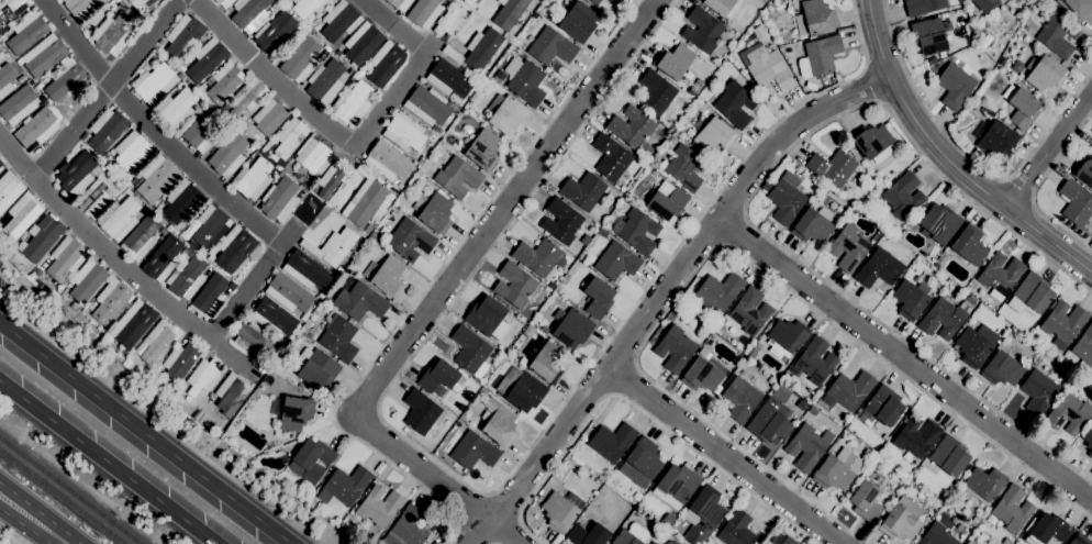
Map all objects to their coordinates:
building: (614, 0)
building: (595, 1)
building: (140, 2)
building: (223, 2)
building: (468, 2)
building: (113, 3)
building: (392, 3)
building: (985, 4)
building: (923, 5)
building: (81, 7)
building: (309, 7)
building: (724, 7)
building: (1079, 7)
building: (9, 10)
building: (422, 12)
building: (249, 13)
building: (509, 13)
building: (814, 18)
building: (449, 19)
building: (339, 21)
building: (578, 22)
road: (394, 25)
building: (702, 29)
building: (274, 31)
building: (26, 33)
building: (112, 34)
building: (1057, 34)
building: (183, 35)
building: (929, 35)
building: (361, 43)
building: (548, 46)
building: (482, 47)
building: (325, 49)
building: (452, 54)
building: (44, 55)
building: (818, 56)
building: (207, 59)
building: (301, 59)
building: (19, 60)
building: (673, 60)
building: (385, 63)
building: (768, 68)
building: (1044, 71)
building: (5, 78)
building: (21, 78)
road: (271, 78)
building: (447, 78)
building: (65, 79)
building: (209, 81)
building: (224, 81)
building: (325, 81)
building: (527, 82)
building: (154, 84)
building: (810, 85)
road: (872, 85)
building: (37, 86)
building: (954, 86)
road: (105, 89)
building: (656, 92)
building: (247, 97)
road: (390, 99)
building: (734, 102)
building: (352, 103)
building: (18, 104)
building: (427, 106)
building: (1021, 106)
building: (225, 107)
building: (176, 108)
building: (506, 113)
building: (269, 116)
road: (155, 125)
building: (631, 126)
building: (36, 127)
building: (202, 127)
building: (105, 130)
building: (403, 132)
building: (714, 134)
building: (83, 136)
building: (289, 138)
building: (996, 138)
building: (872, 142)
building: (483, 149)
road: (1048, 149)
building: (132, 152)
building: (227, 155)
building: (313, 157)
building: (611, 157)
road: (969, 157)
road: (947, 160)
building: (387, 162)
building: (0, 163)
building: (0, 165)
building: (0, 167)
building: (684, 167)
building: (832, 167)
building: (277, 168)
building: (1083, 170)
building: (76, 173)
building: (654, 173)
building: (457, 176)
building: (331, 178)
building: (156, 179)
building: (252, 179)
building: (823, 187)
road: (1035, 187)
building: (9, 189)
building: (582, 190)
building: (903, 196)
building: (94, 199)
building: (279, 199)
building: (365, 199)
road: (748, 199)
building: (182, 201)
building: (666, 201)
building: (785, 201)
building: (1076, 202)
road: (504, 208)
building: (157, 211)
building: (433, 211)
building: (854, 211)
building: (21, 214)
road: (744, 214)
building: (119, 218)
building: (561, 221)
building: (939, 223)
building: (813, 224)
building: (210, 225)
road: (731, 230)
building: (638, 231)
building: (141, 237)
building: (40, 238)
building: (410, 240)
road: (103, 241)
building: (968, 245)
building: (332, 246)
road: (718, 246)
road: (731, 247)
building: (848, 247)
building: (234, 248)
building: (537, 256)
building: (66, 257)
building: (163, 259)
building: (616, 260)
parking lot: (1, 264)
building: (879, 268)
building: (307, 270)
building: (1000, 275)
building: (386, 276)
building: (187, 278)
building: (82, 284)
parking lot: (2, 285)
building: (514, 285)
road: (427, 287)
building: (718, 290)
road: (661, 291)
building: (288, 292)
building: (1030, 295)
building: (209, 296)
building: (598, 298)
building: (911, 299)
building: (111, 301)
building: (359, 301)
building: (748, 311)
road: (232, 313)
building: (487, 317)
building: (272, 318)
building: (941, 319)
building: (133, 323)
building: (1062, 323)
building: (1007, 325)
building: (571, 326)
building: (527, 329)
building: (545, 330)
building: (113, 331)
building: (337, 336)
building: (787, 336)
building: (252, 340)
building: (157, 341)
building: (974, 345)
building: (675, 348)
building: (753, 349)
building: (1084, 349)
road: (36, 351)
building: (470, 351)
road: (903, 359)
building: (180, 360)
road: (634, 360)
building: (522, 362)
building: (547, 362)
building: (814, 362)
building: (1065, 362)
building: (316, 368)
building: (1002, 369)
building: (157, 374)
building: (701, 375)
building: (202, 376)
road: (622, 377)
building: (438, 378)
building: (770, 380)
building: (521, 389)
building: (850, 389)
building: (1038, 392)
building: (231, 393)
building: (780, 393)
road: (611, 395)
building: (740, 399)
building: (801, 404)
building: (883, 406)
road: (639, 409)
building: (420, 411)
building: (812, 411)
building: (292, 412)
building: (1068, 413)
road: (159, 421)
building: (498, 422)
building: (768, 422)
building: (916, 436)
building: (1088, 438)
building: (612, 442)
building: (807, 446)
building: (473, 451)
road: (724, 455)
building: (949, 455)
building: (311, 460)
road: (181, 462)
road: (107, 463)
building: (640, 463)
building: (832, 474)
building: (601, 478)
road: (436, 479)
building: (983, 485)
building: (344, 486)
building: (676, 486)
building: (914, 486)
railway: (69, 491)
road: (484, 492)
building: (636, 496)
railway: (62, 497)
building: (311, 501)
building: (865, 501)
road: (9, 502)
building: (317, 506)
road: (9, 509)
building: (378, 509)
building: (1012, 509)
building: (561, 510)
building: (704, 514)
building: (352, 520)
building: (901, 520)
building: (974, 520)
building: (406, 528)
road: (38, 529)
building: (736, 529)
building: (1047, 529)
building: (588, 534)
building: (631, 535)
building: (937, 535)
road: (9, 537)
building: (781, 539)
building: (1079, 540)
building: (969, 542)
building: (915, 543)

